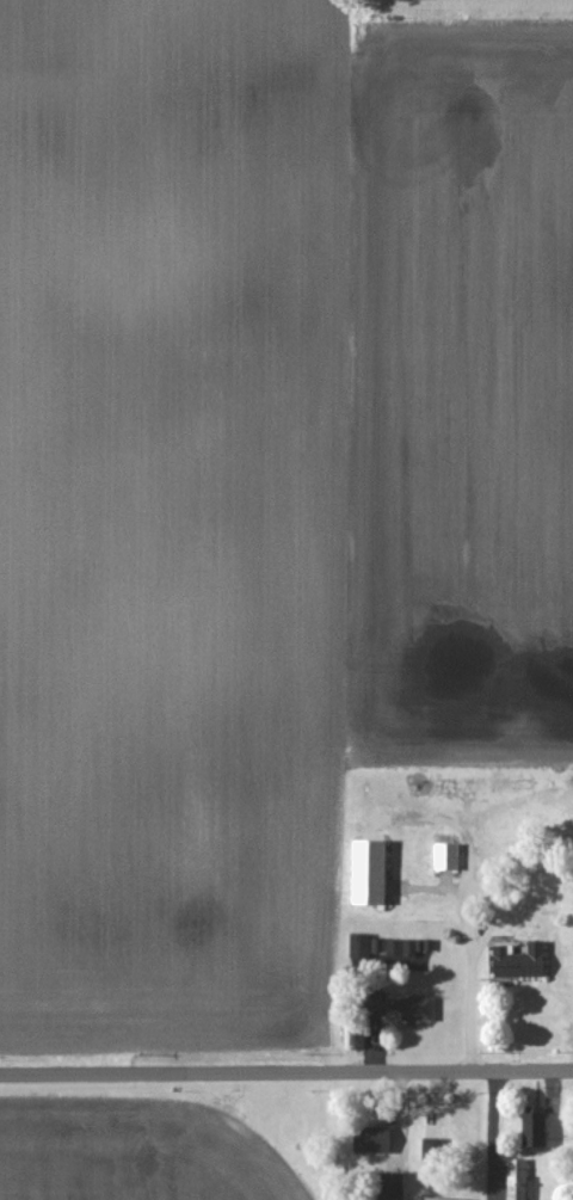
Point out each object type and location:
building: (448, 859)
building: (369, 875)
building: (361, 947)
building: (381, 948)
building: (401, 949)
building: (519, 964)
building: (399, 1008)
road: (473, 1011)
road: (285, 1073)
building: (535, 1128)
building: (371, 1141)
building: (517, 1180)
building: (392, 1187)

